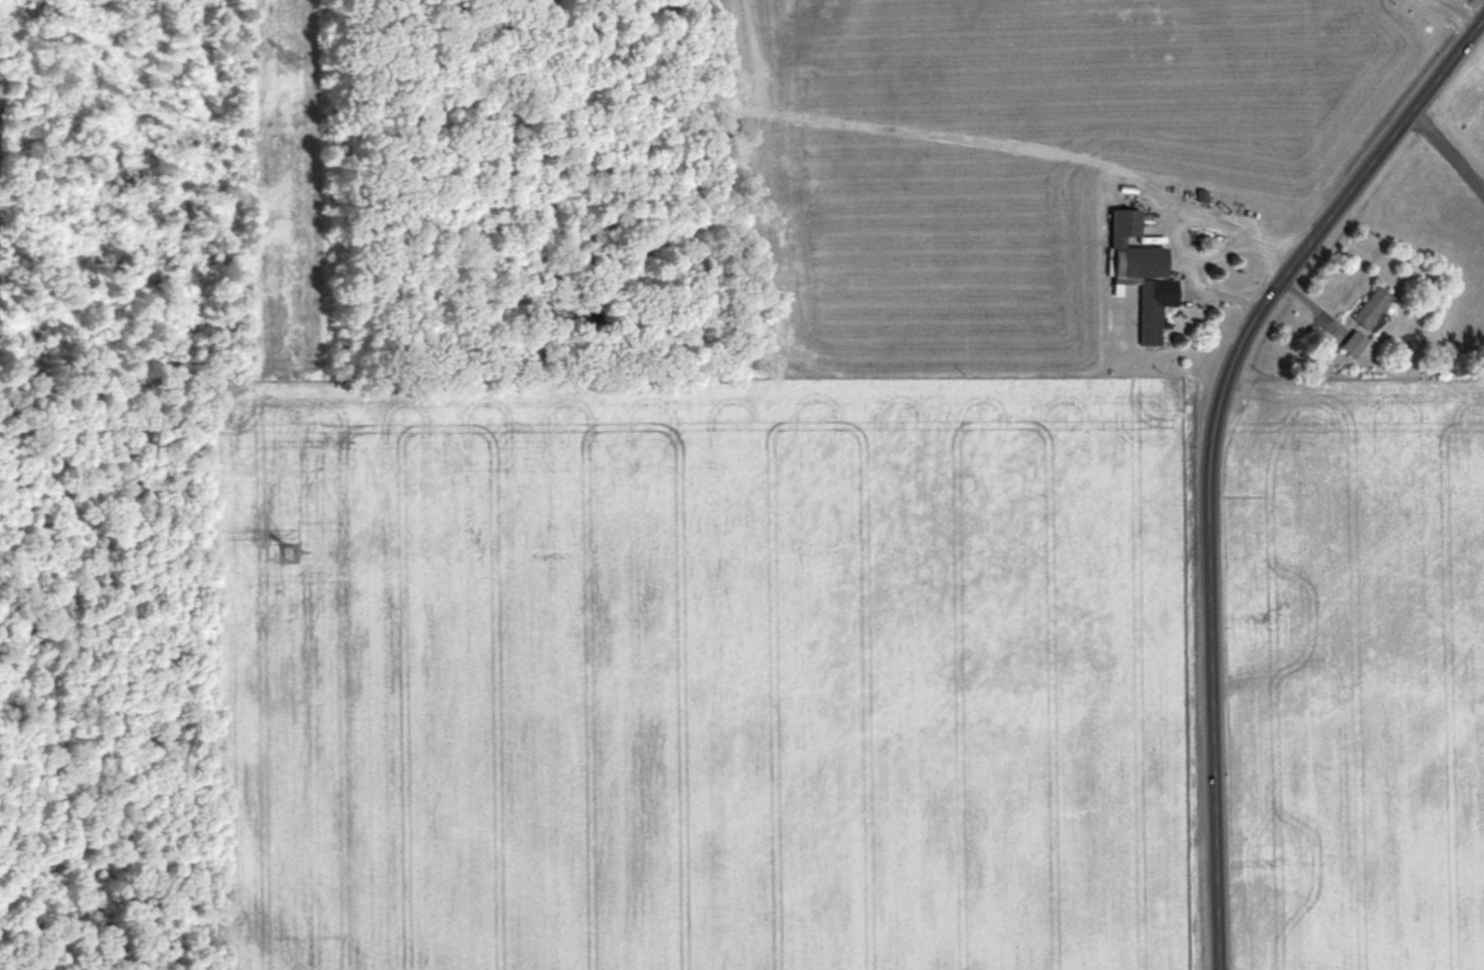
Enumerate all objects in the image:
road: (1446, 57)
power tower: (295, 59)
road: (1447, 142)
building: (1145, 286)
road: (1267, 287)
building: (1373, 305)
building: (1355, 342)
power tower: (295, 553)
road: (1210, 738)

